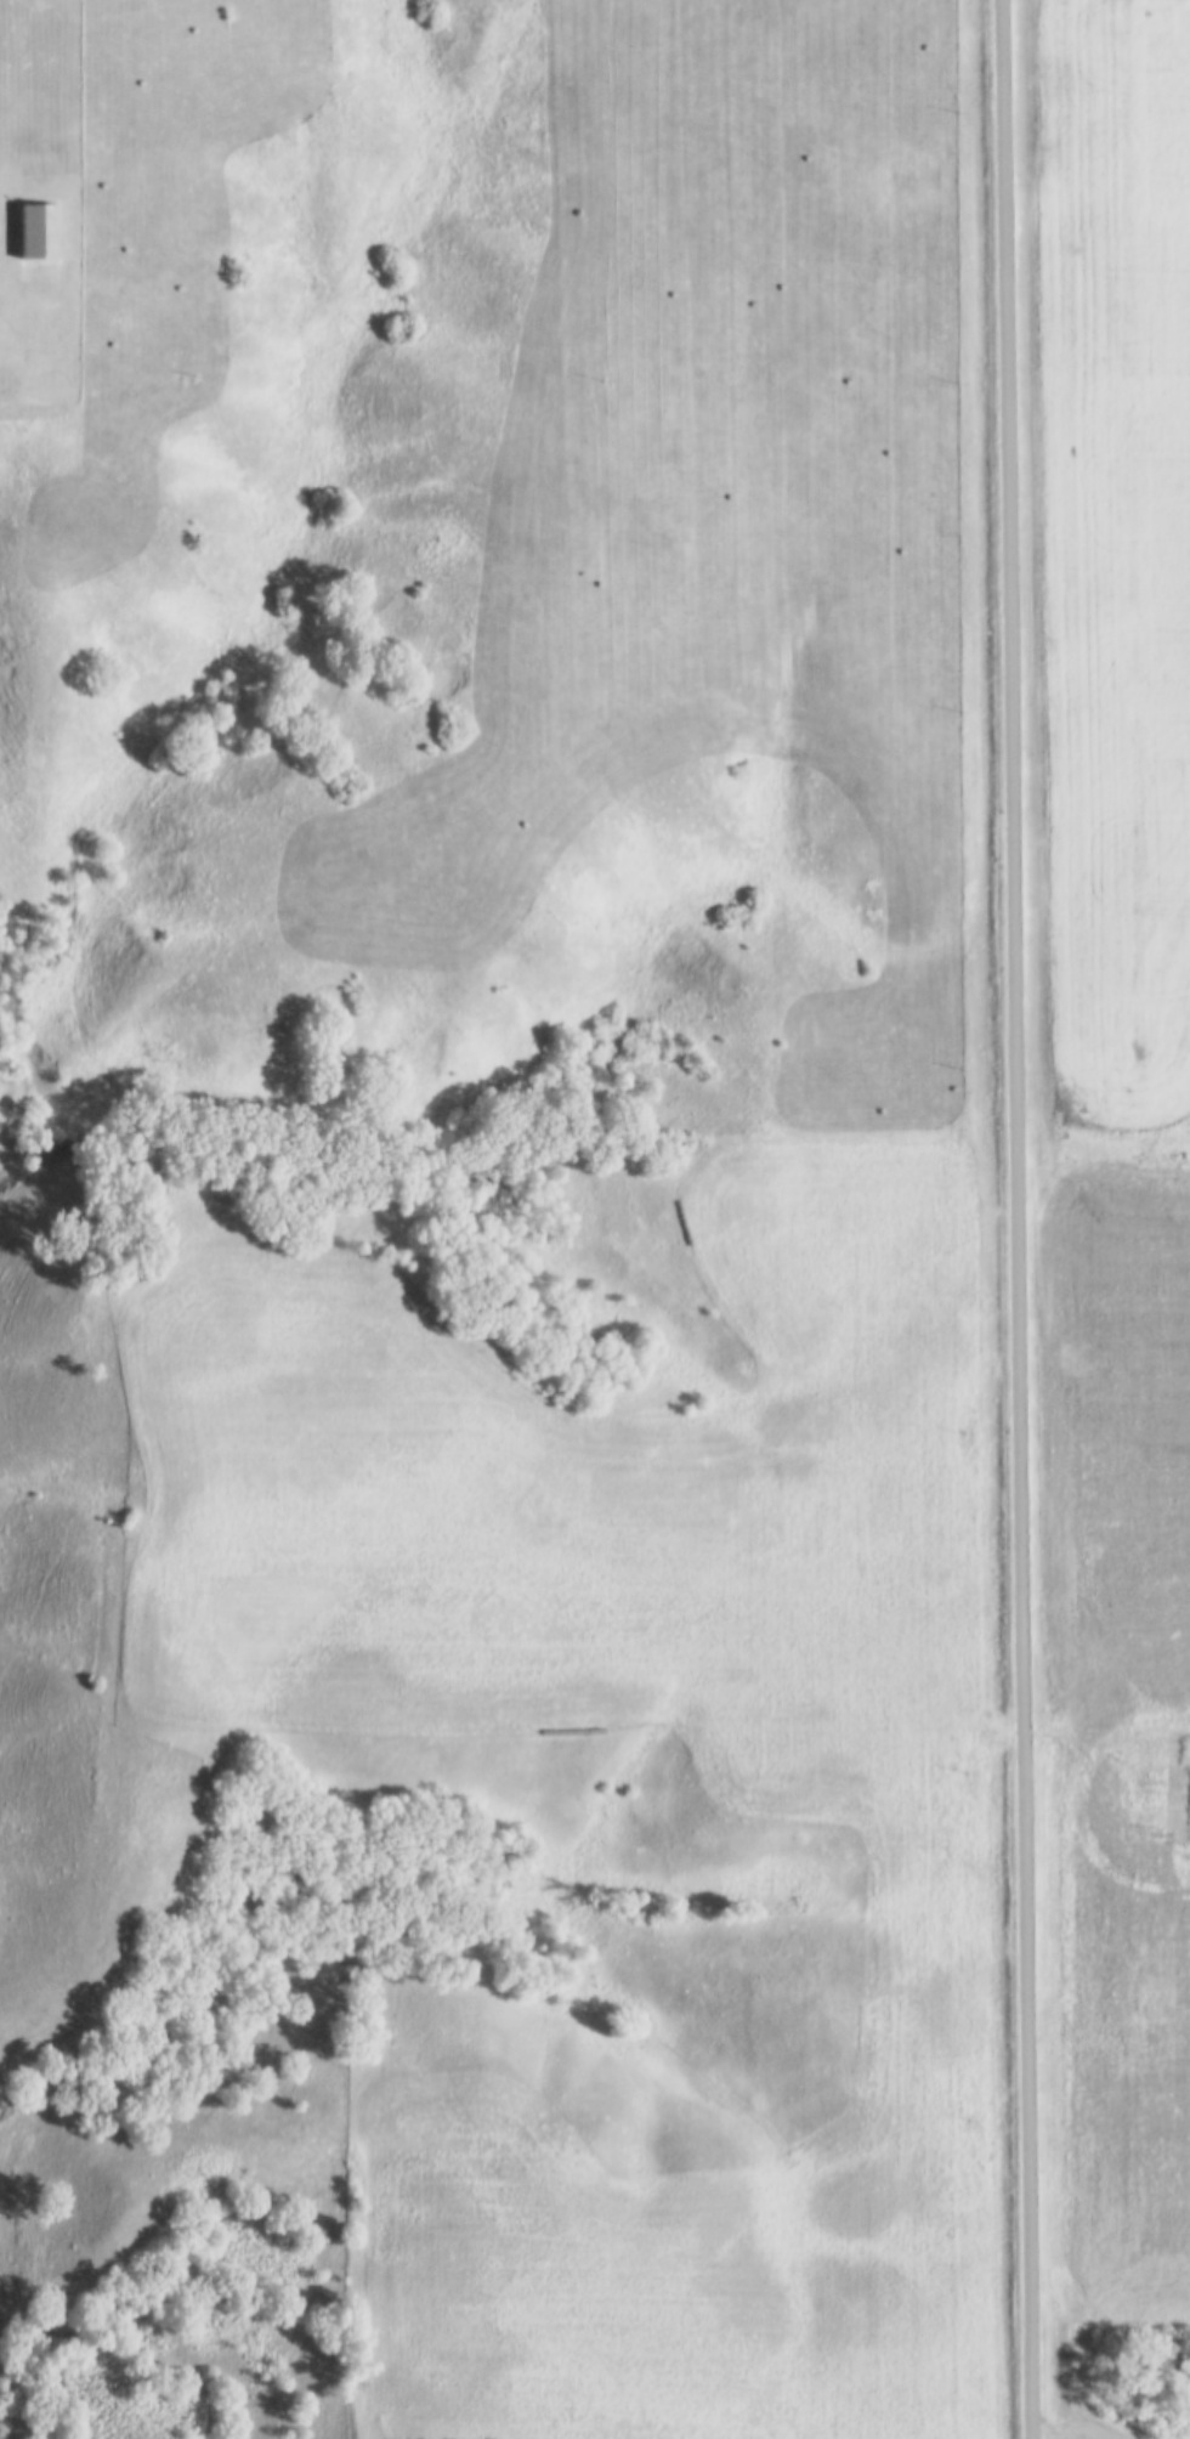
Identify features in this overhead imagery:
building: (39, 230)
road: (1018, 1218)

